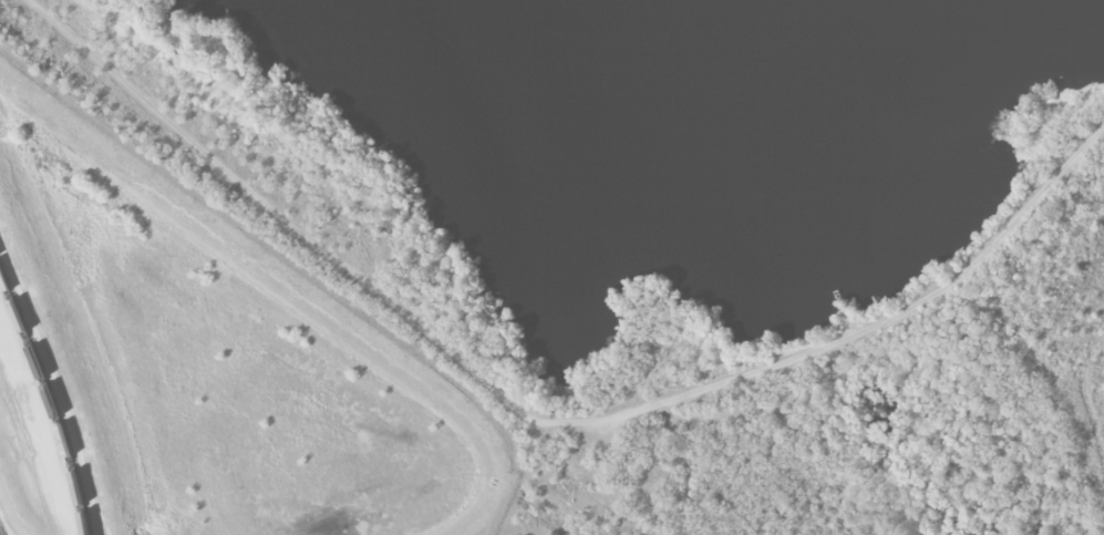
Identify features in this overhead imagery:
road: (1035, 205)
dam: (879, 328)
road: (879, 328)
road: (687, 395)
railway: (51, 401)
railway: (1, 529)

